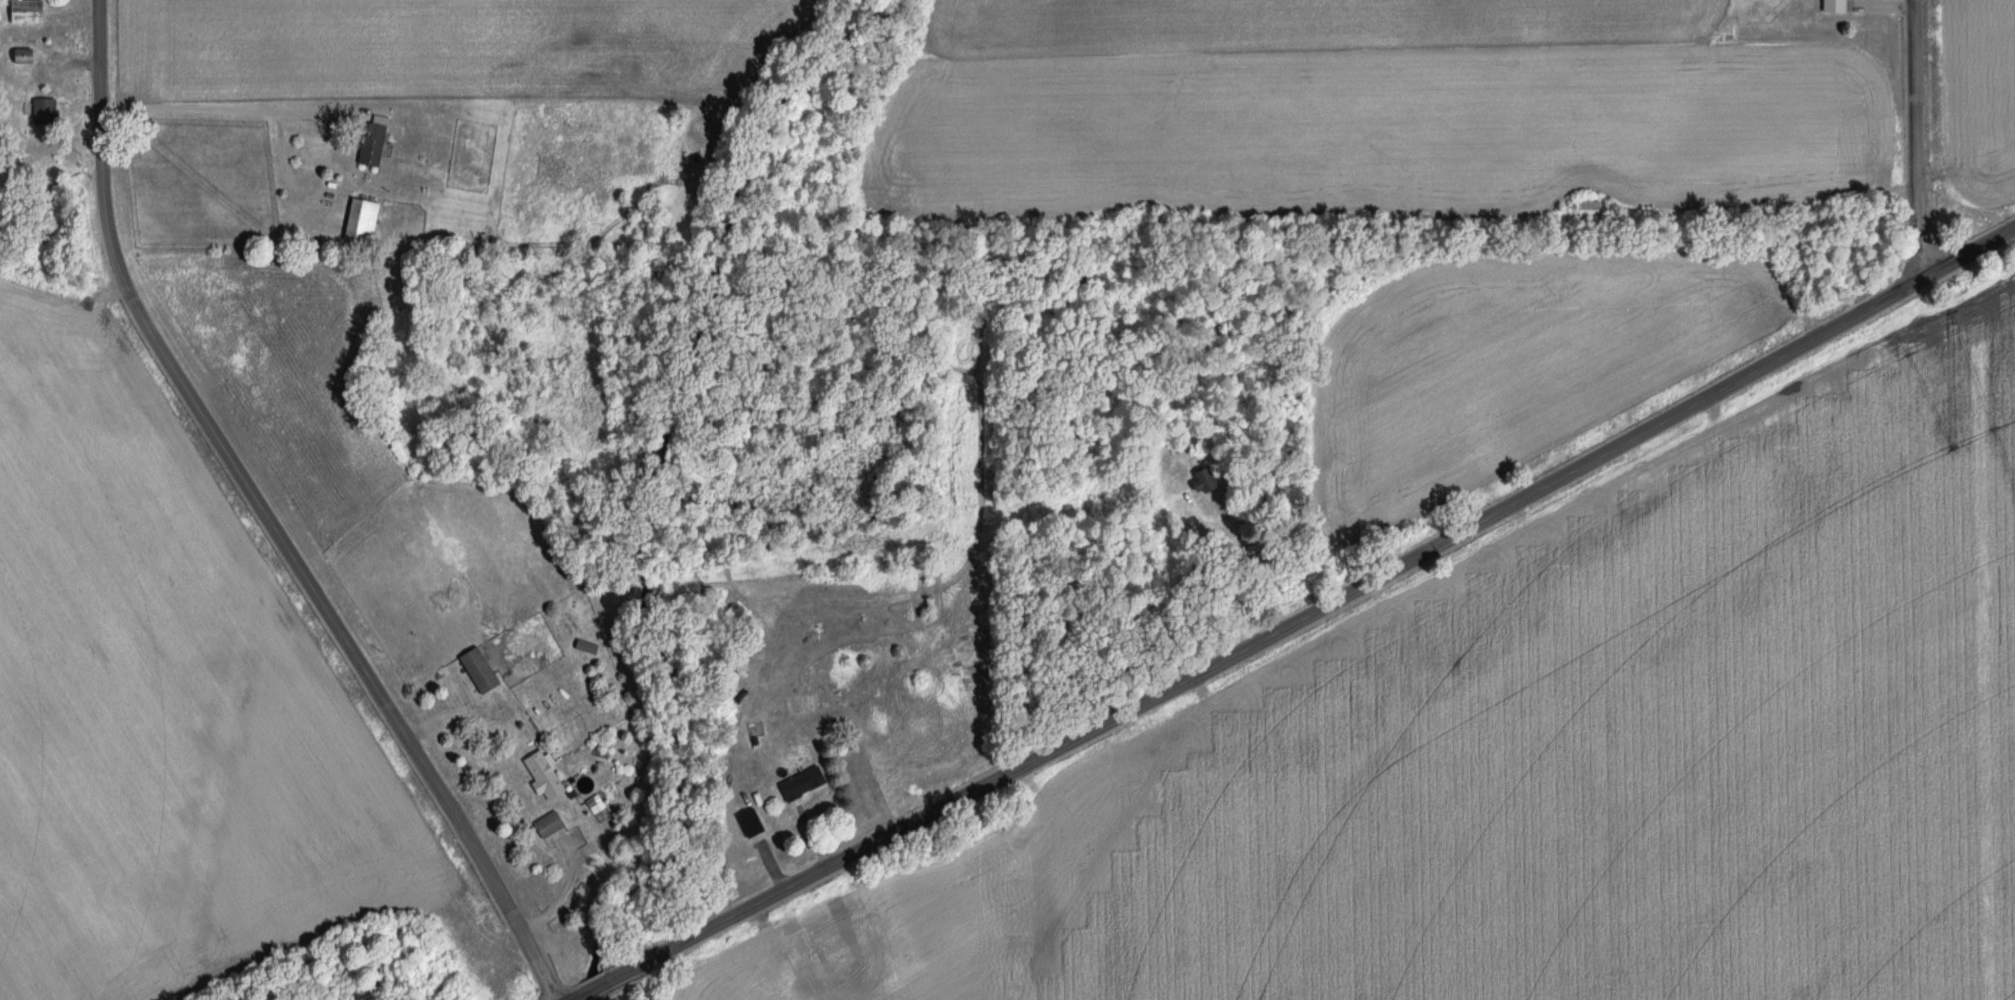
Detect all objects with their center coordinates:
building: (1831, 6)
building: (24, 12)
building: (20, 57)
road: (212, 102)
building: (41, 113)
road: (1920, 143)
building: (368, 146)
building: (1586, 210)
building: (358, 222)
building: (1198, 482)
road: (259, 518)
road: (1223, 566)
road: (1298, 619)
building: (476, 672)
building: (541, 777)
building: (799, 786)
building: (749, 825)
building: (547, 827)

